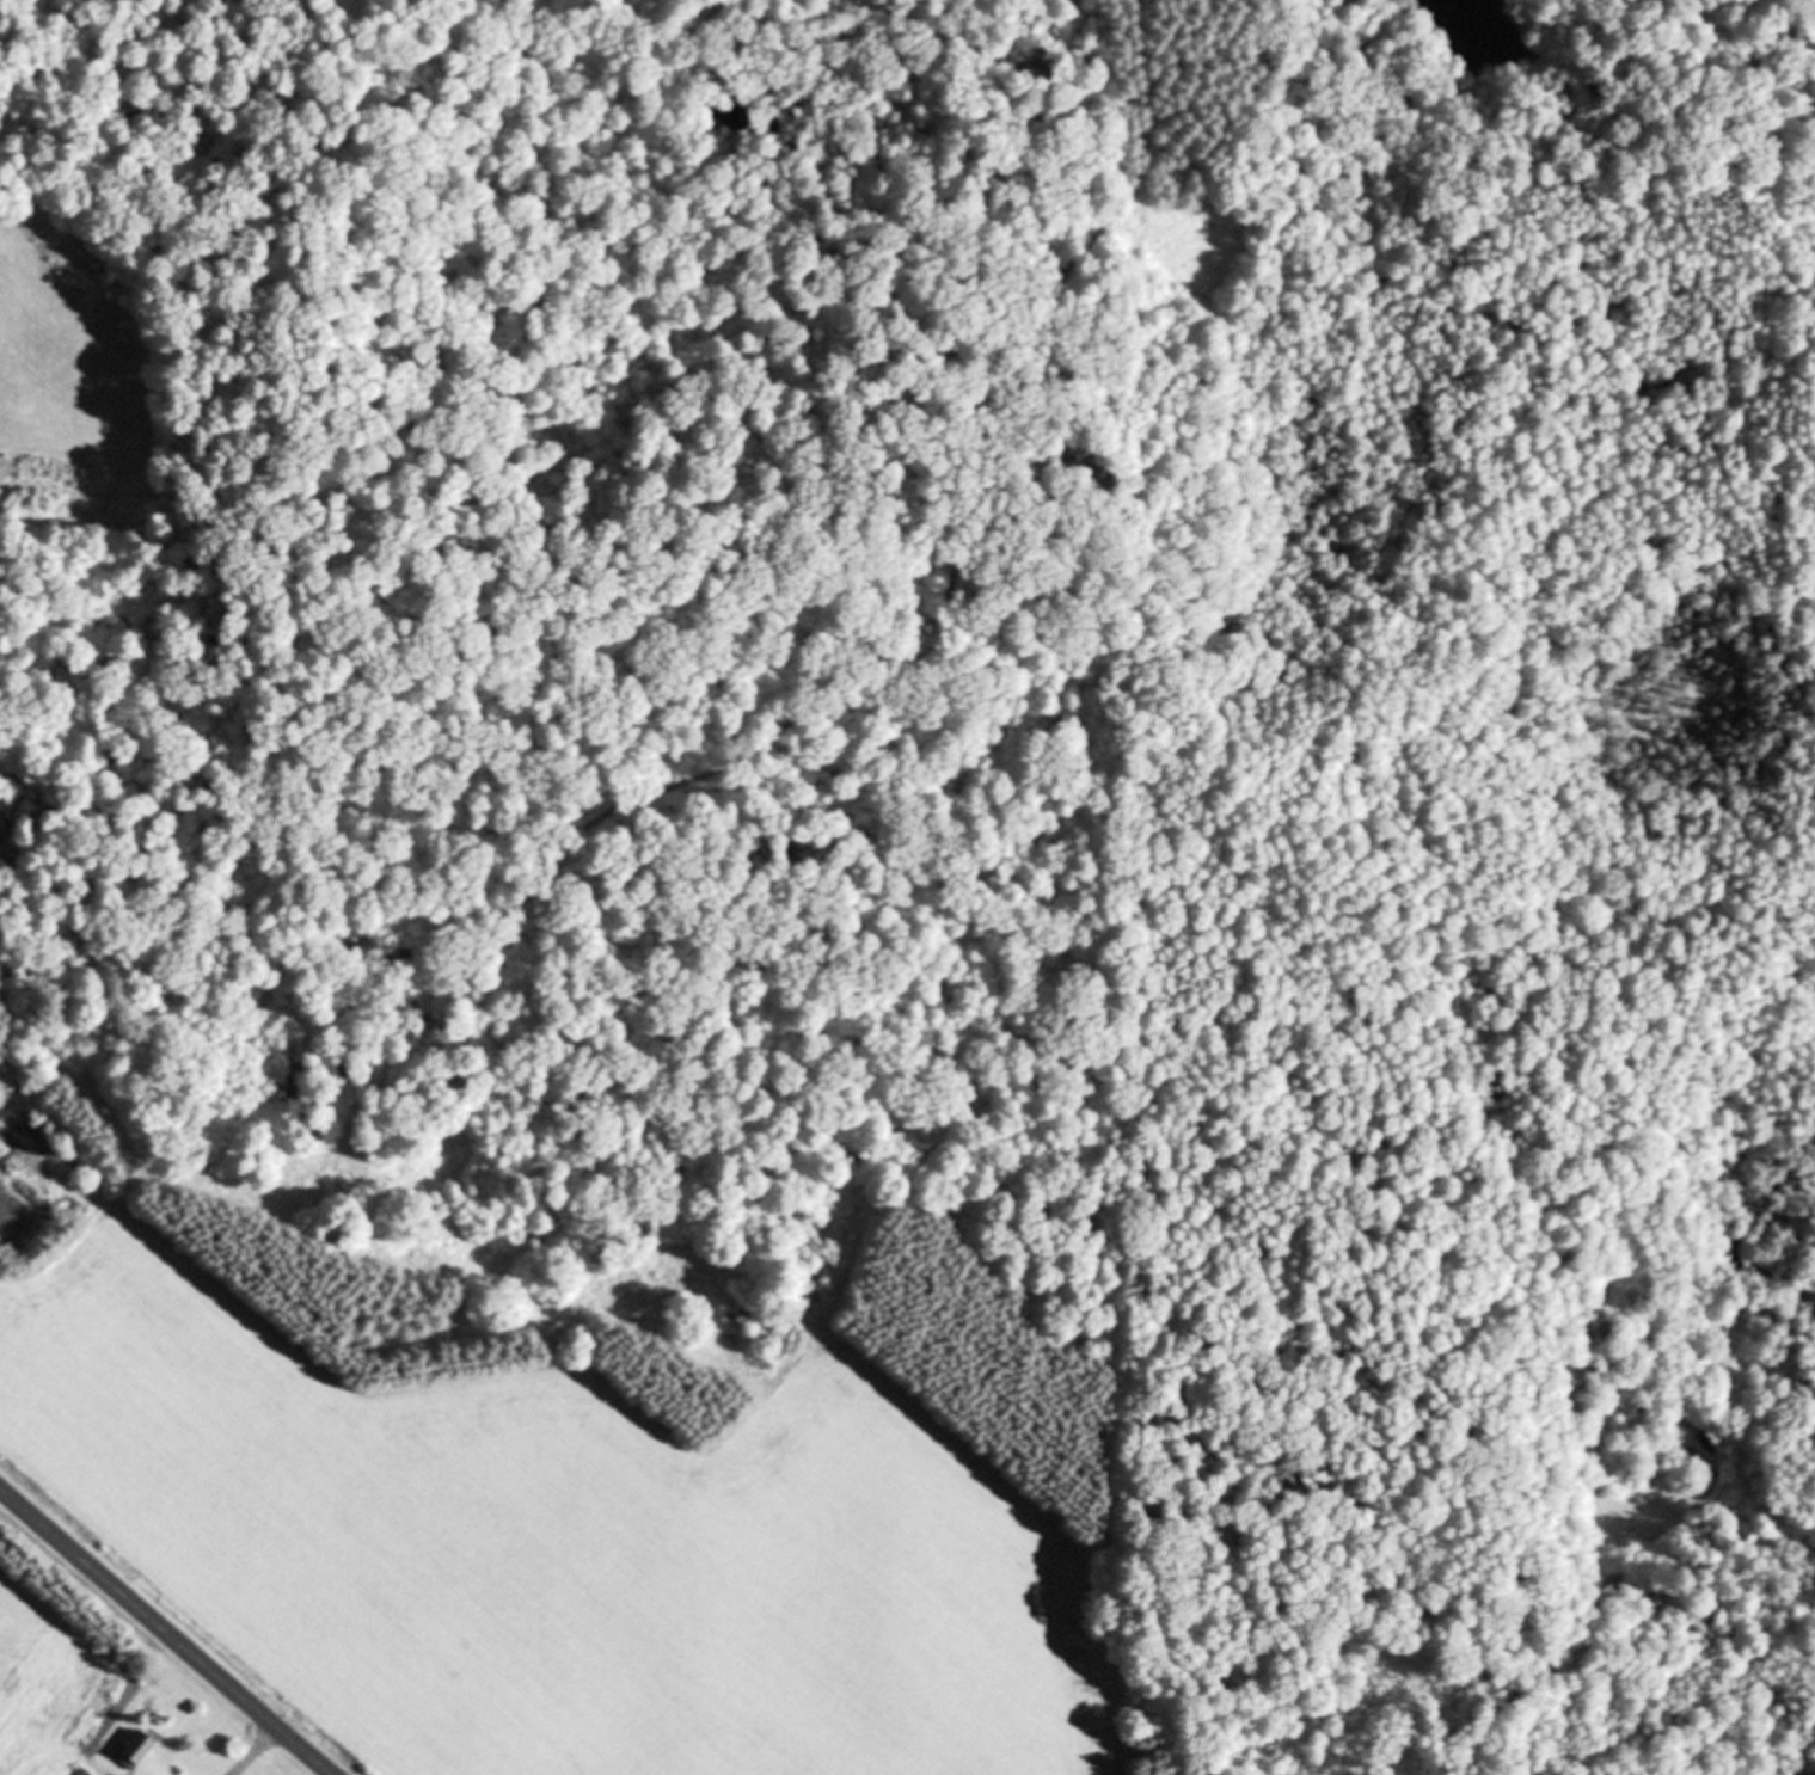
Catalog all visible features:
road: (167, 1630)
building: (141, 1749)
road: (250, 1749)
building: (87, 1773)

